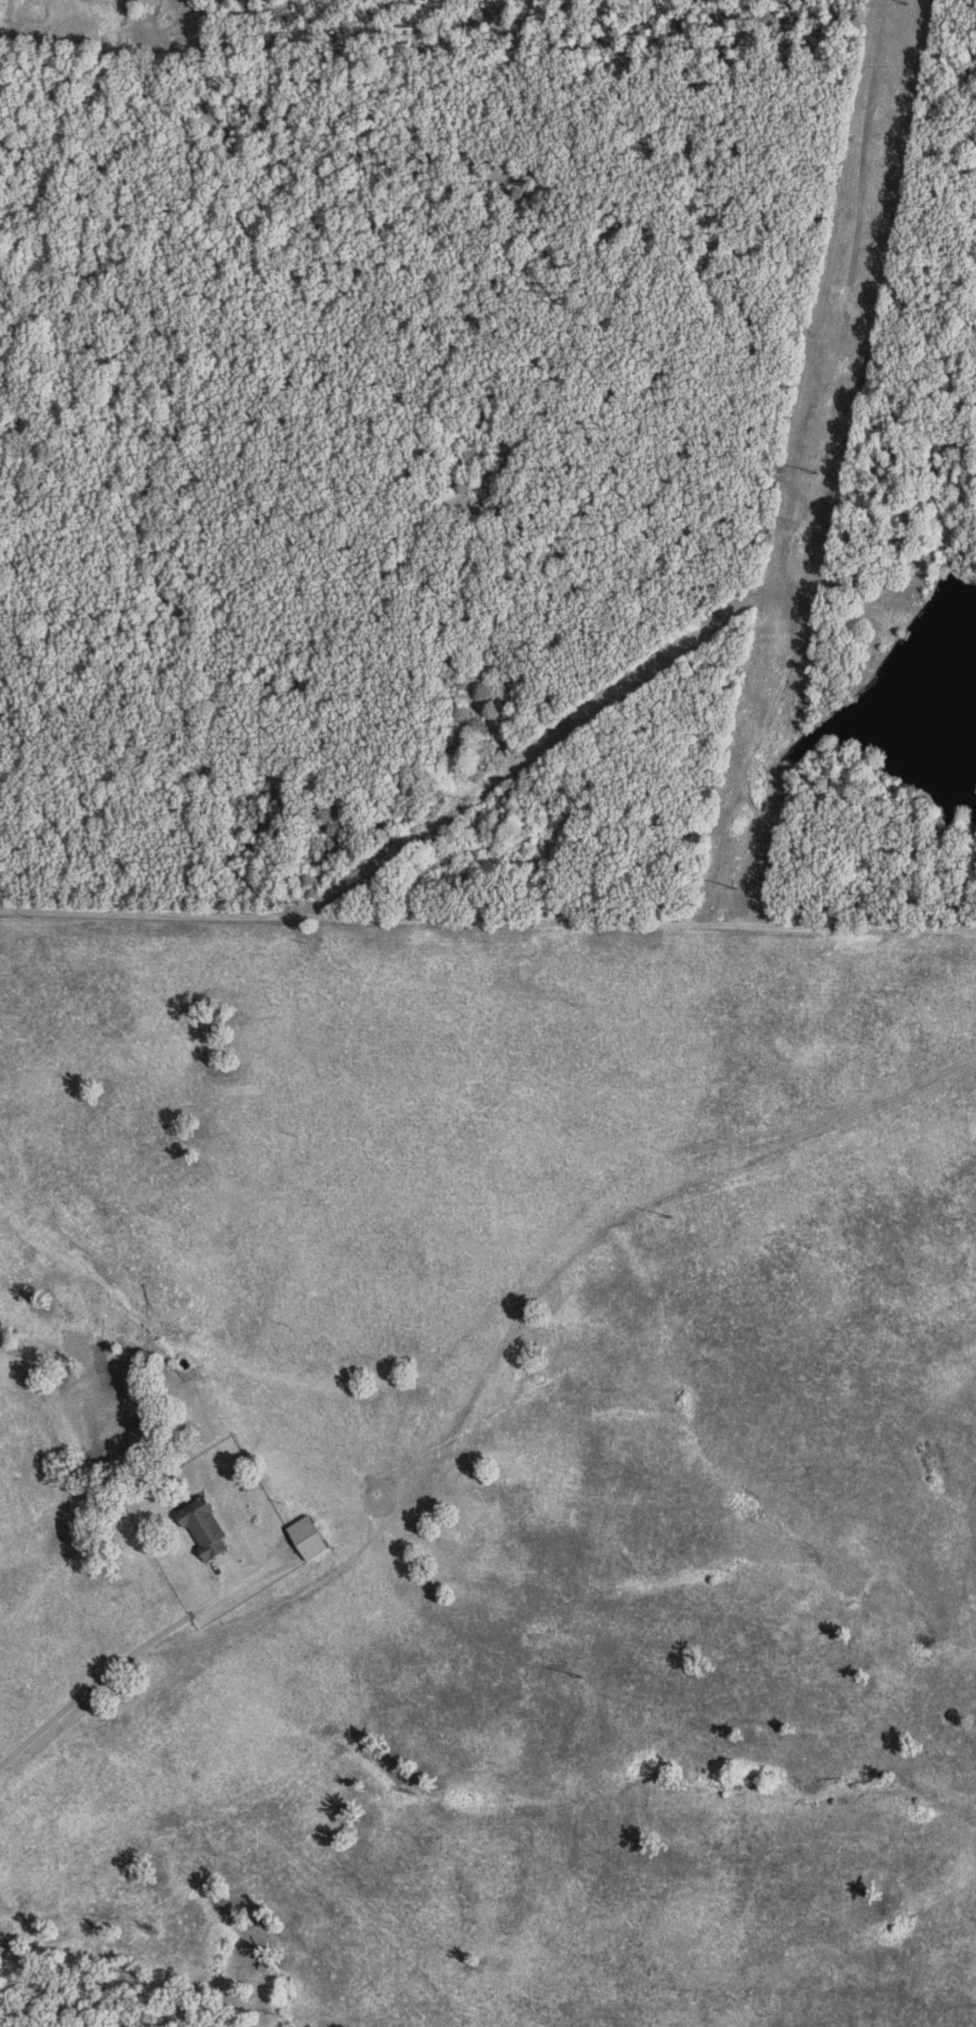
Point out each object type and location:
power tower: (905, 4)
power tower: (815, 476)
road: (512, 744)
power tower: (732, 890)
power tower: (672, 1217)
building: (209, 1530)
building: (311, 1537)
power tower: (580, 1678)

